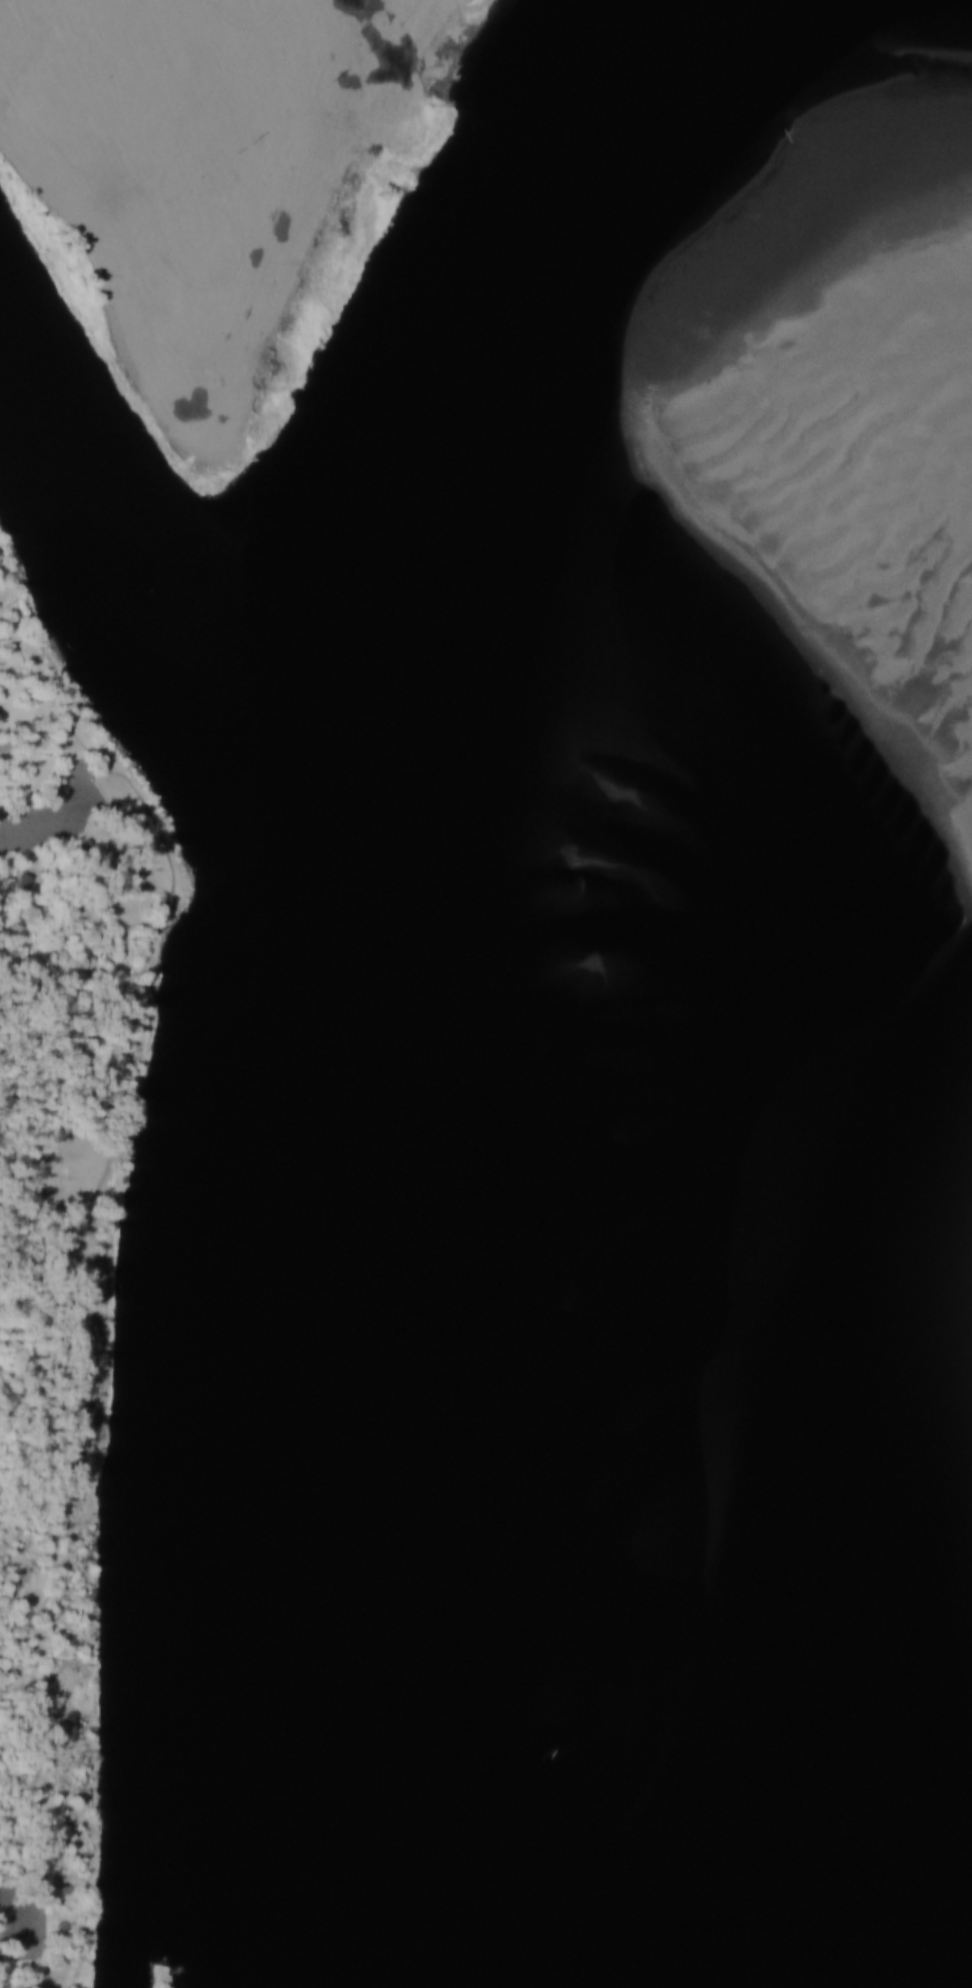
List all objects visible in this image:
road: (49, 697)
building: (23, 880)
river: (248, 1149)
park: (68, 1204)
river: (930, 1836)

